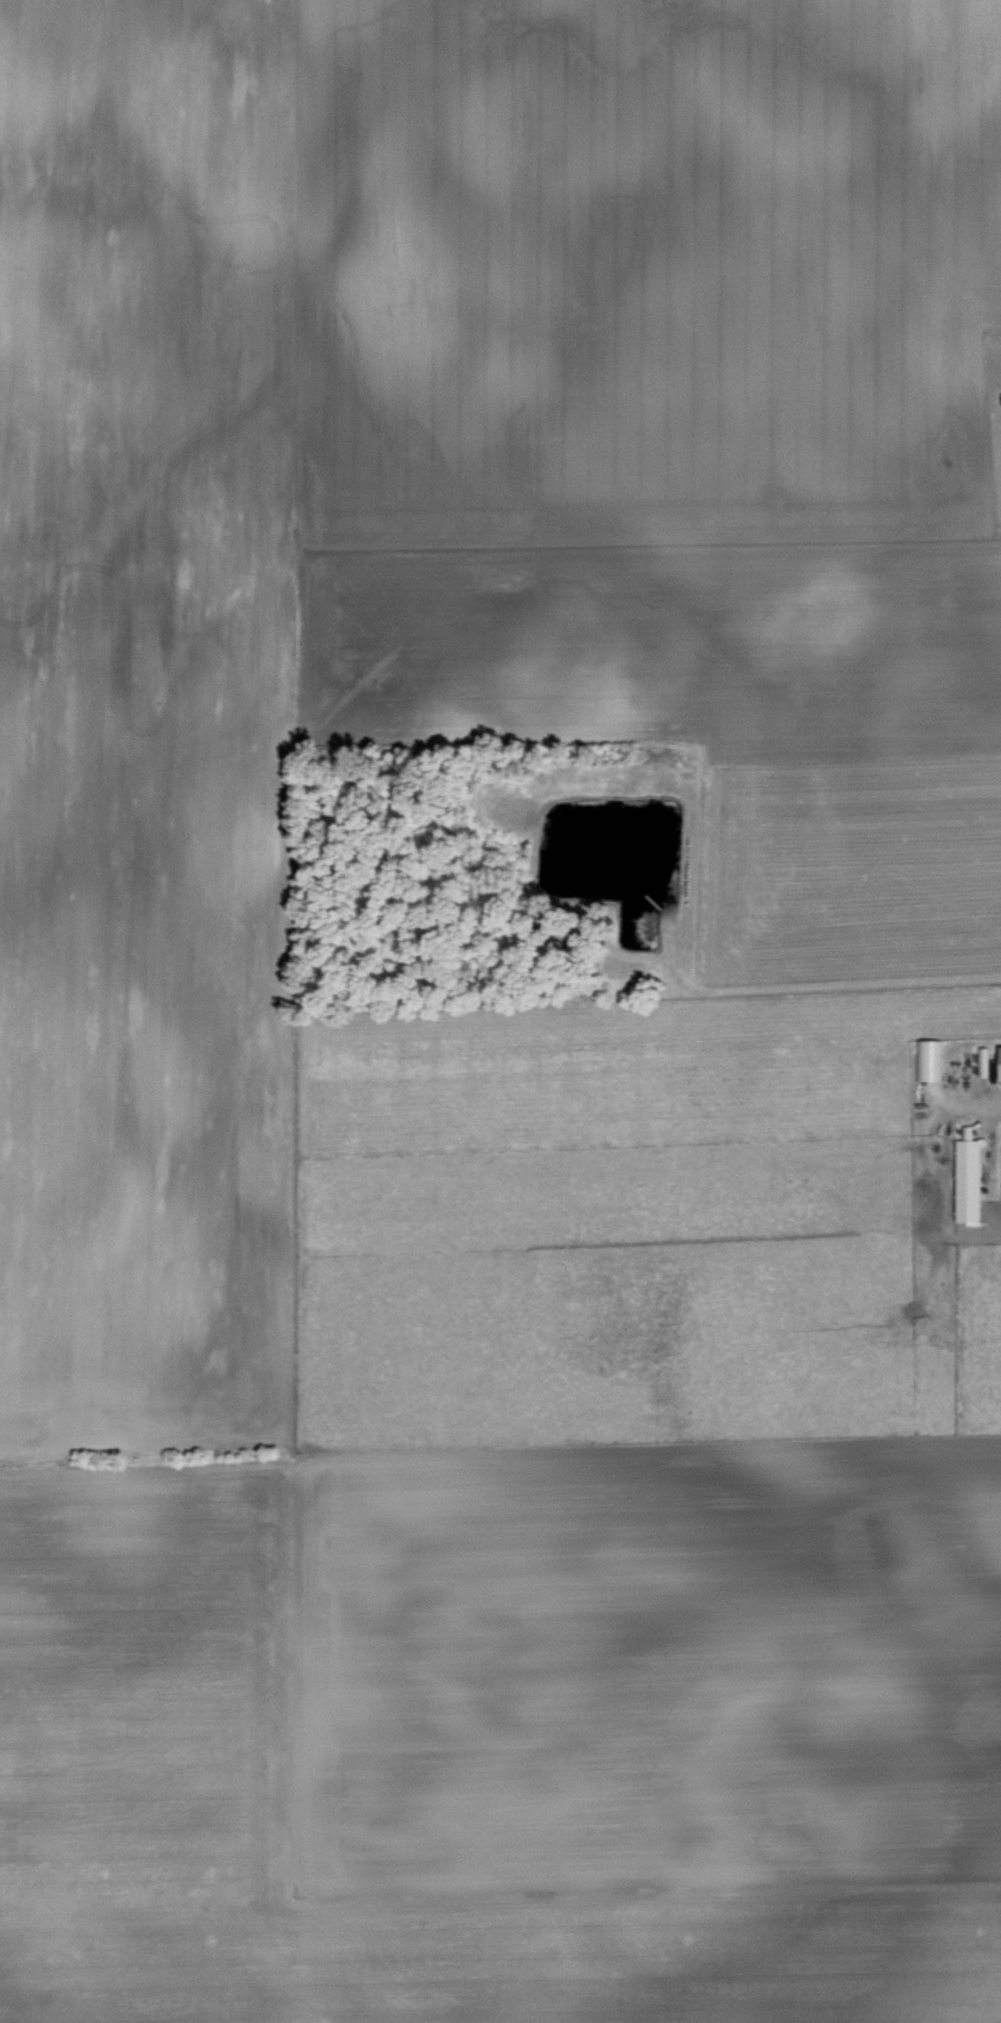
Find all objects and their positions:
building: (925, 1059)
building: (979, 1061)
building: (994, 1061)
road: (966, 1103)
building: (963, 1179)

